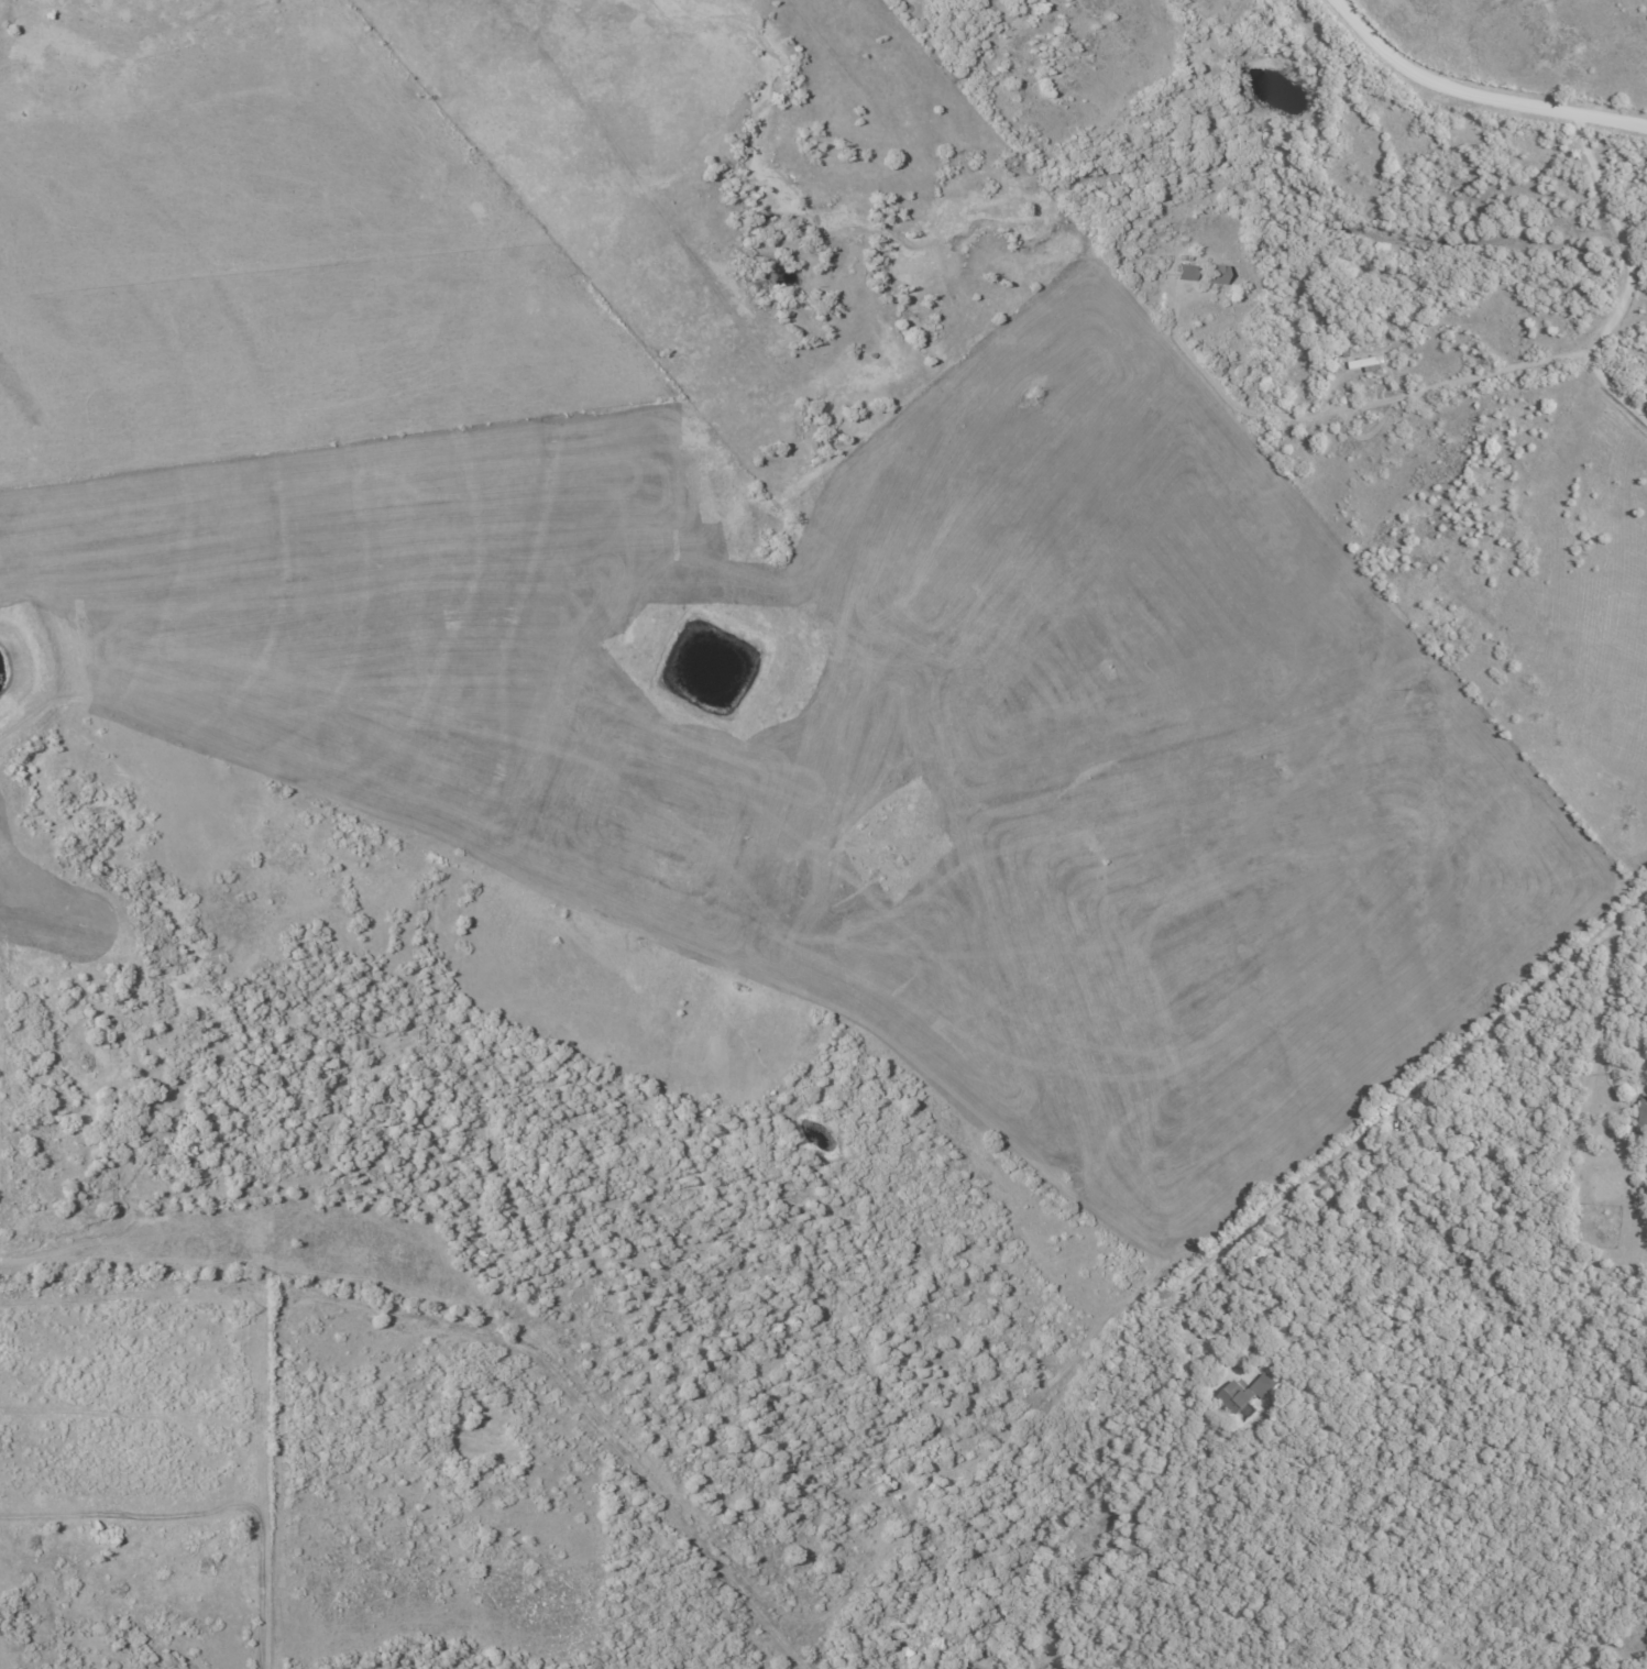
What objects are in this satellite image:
road: (1476, 95)
road: (1624, 231)
building: (1218, 273)
road: (1615, 382)
road: (1360, 402)
building: (1644, 1116)
road: (1375, 1130)
building: (1247, 1395)

